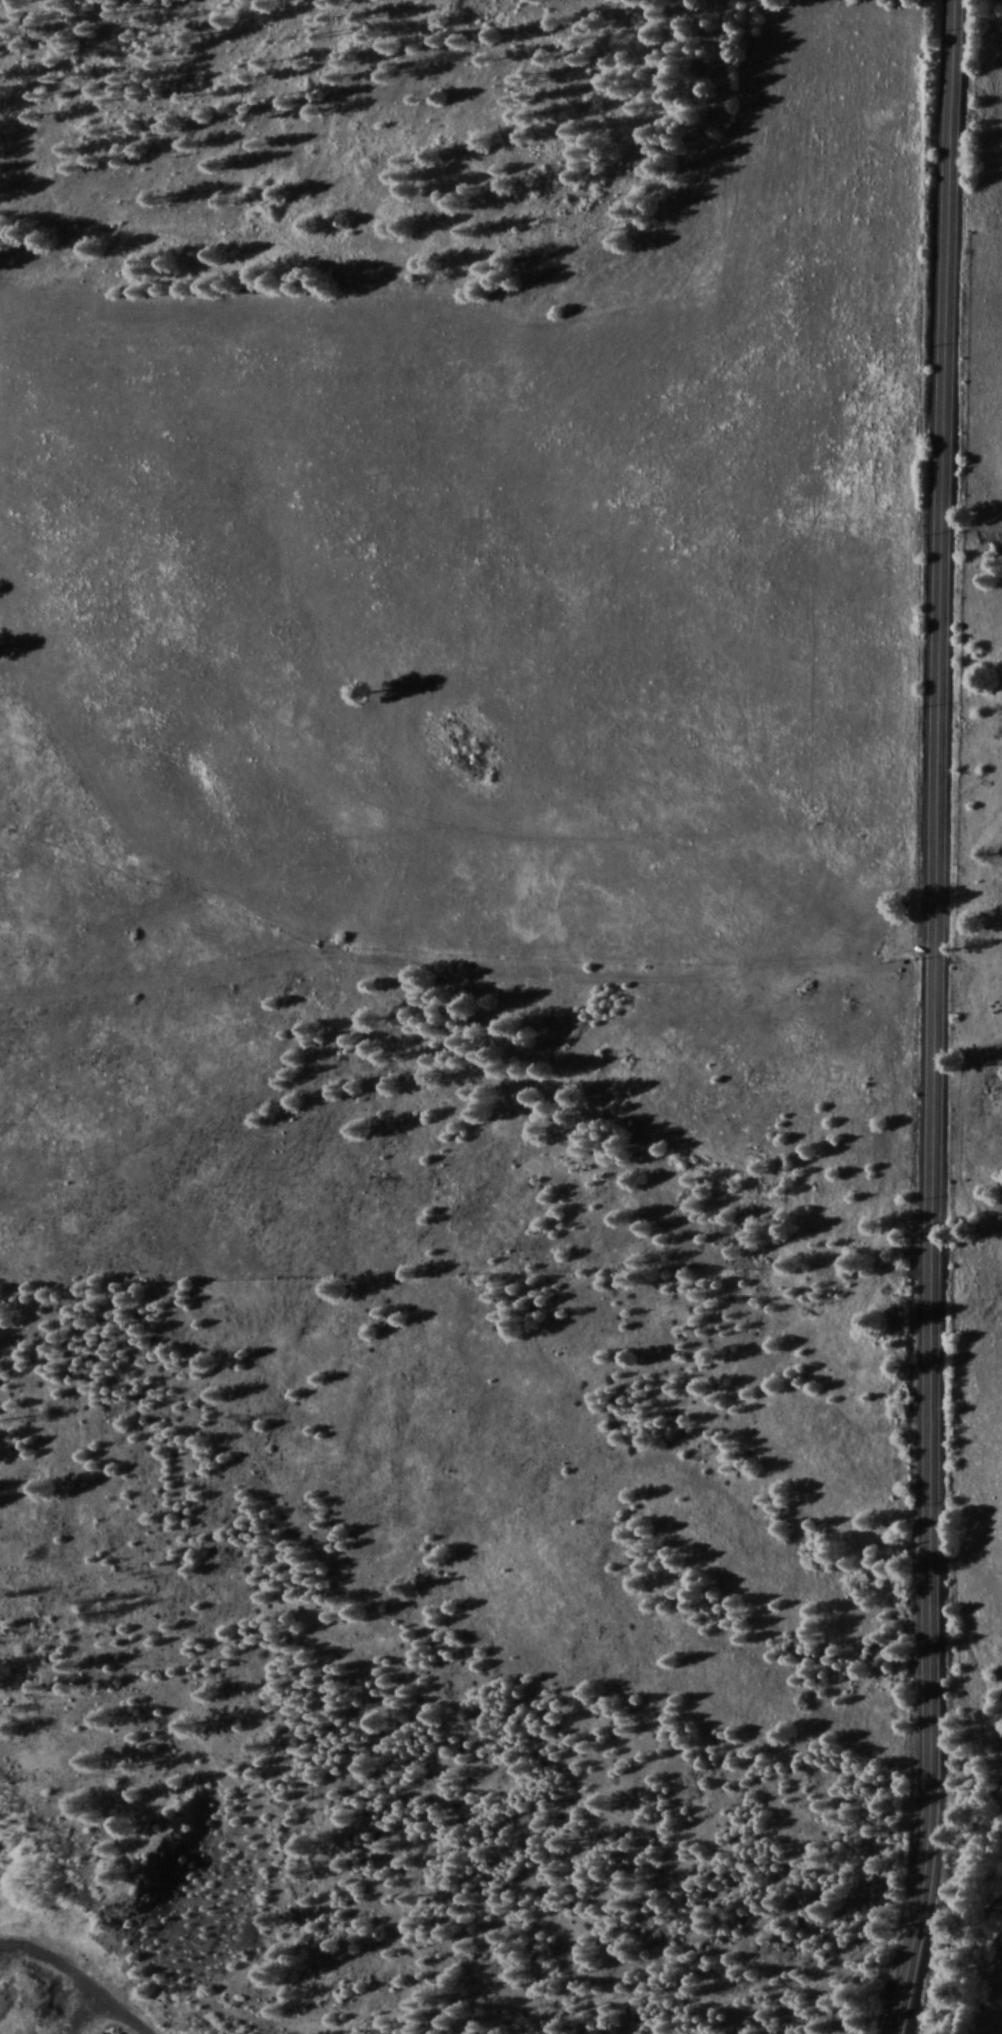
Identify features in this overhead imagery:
road: (927, 1018)
road: (83, 1972)

